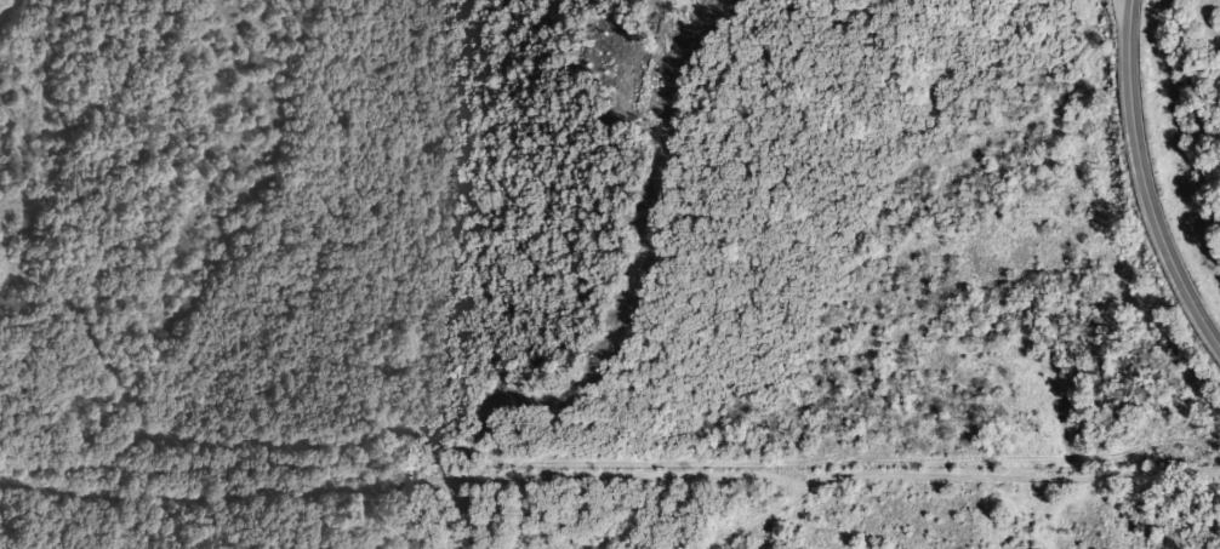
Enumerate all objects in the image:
road: (1141, 185)
road: (1025, 519)

